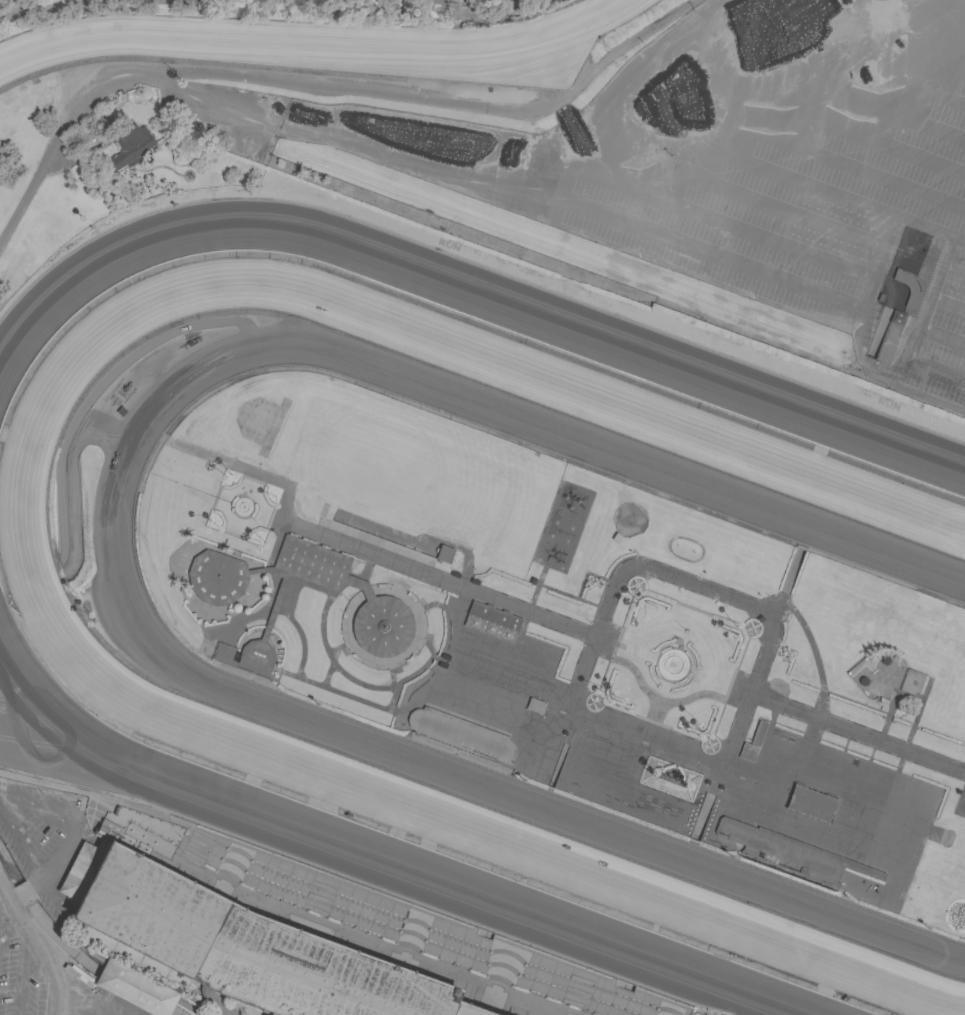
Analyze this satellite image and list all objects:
road: (165, 2)
road: (959, 3)
road: (48, 7)
road: (944, 29)
track: (302, 37)
road: (925, 58)
road: (909, 89)
road: (895, 115)
road: (882, 144)
building: (130, 146)
road: (857, 171)
road: (837, 196)
parking lot: (848, 205)
road: (832, 231)
road: (767, 240)
road: (745, 269)
building: (909, 287)
road: (890, 300)
road: (948, 303)
road: (888, 307)
building: (897, 318)
road: (916, 331)
road: (878, 334)
road: (941, 337)
track: (618, 343)
building: (444, 554)
road: (786, 581)
building: (382, 607)
building: (492, 621)
track: (71, 643)
road: (813, 655)
track: (174, 657)
building: (857, 667)
building: (913, 681)
building: (535, 706)
road: (573, 715)
building: (758, 733)
road: (856, 734)
building: (462, 735)
building: (748, 752)
road: (79, 777)
road: (715, 781)
building: (811, 803)
road: (960, 803)
road: (701, 819)
track: (353, 846)
building: (789, 853)
building: (297, 940)
road: (35, 944)
road: (23, 970)
road: (72, 1007)
road: (81, 1013)

